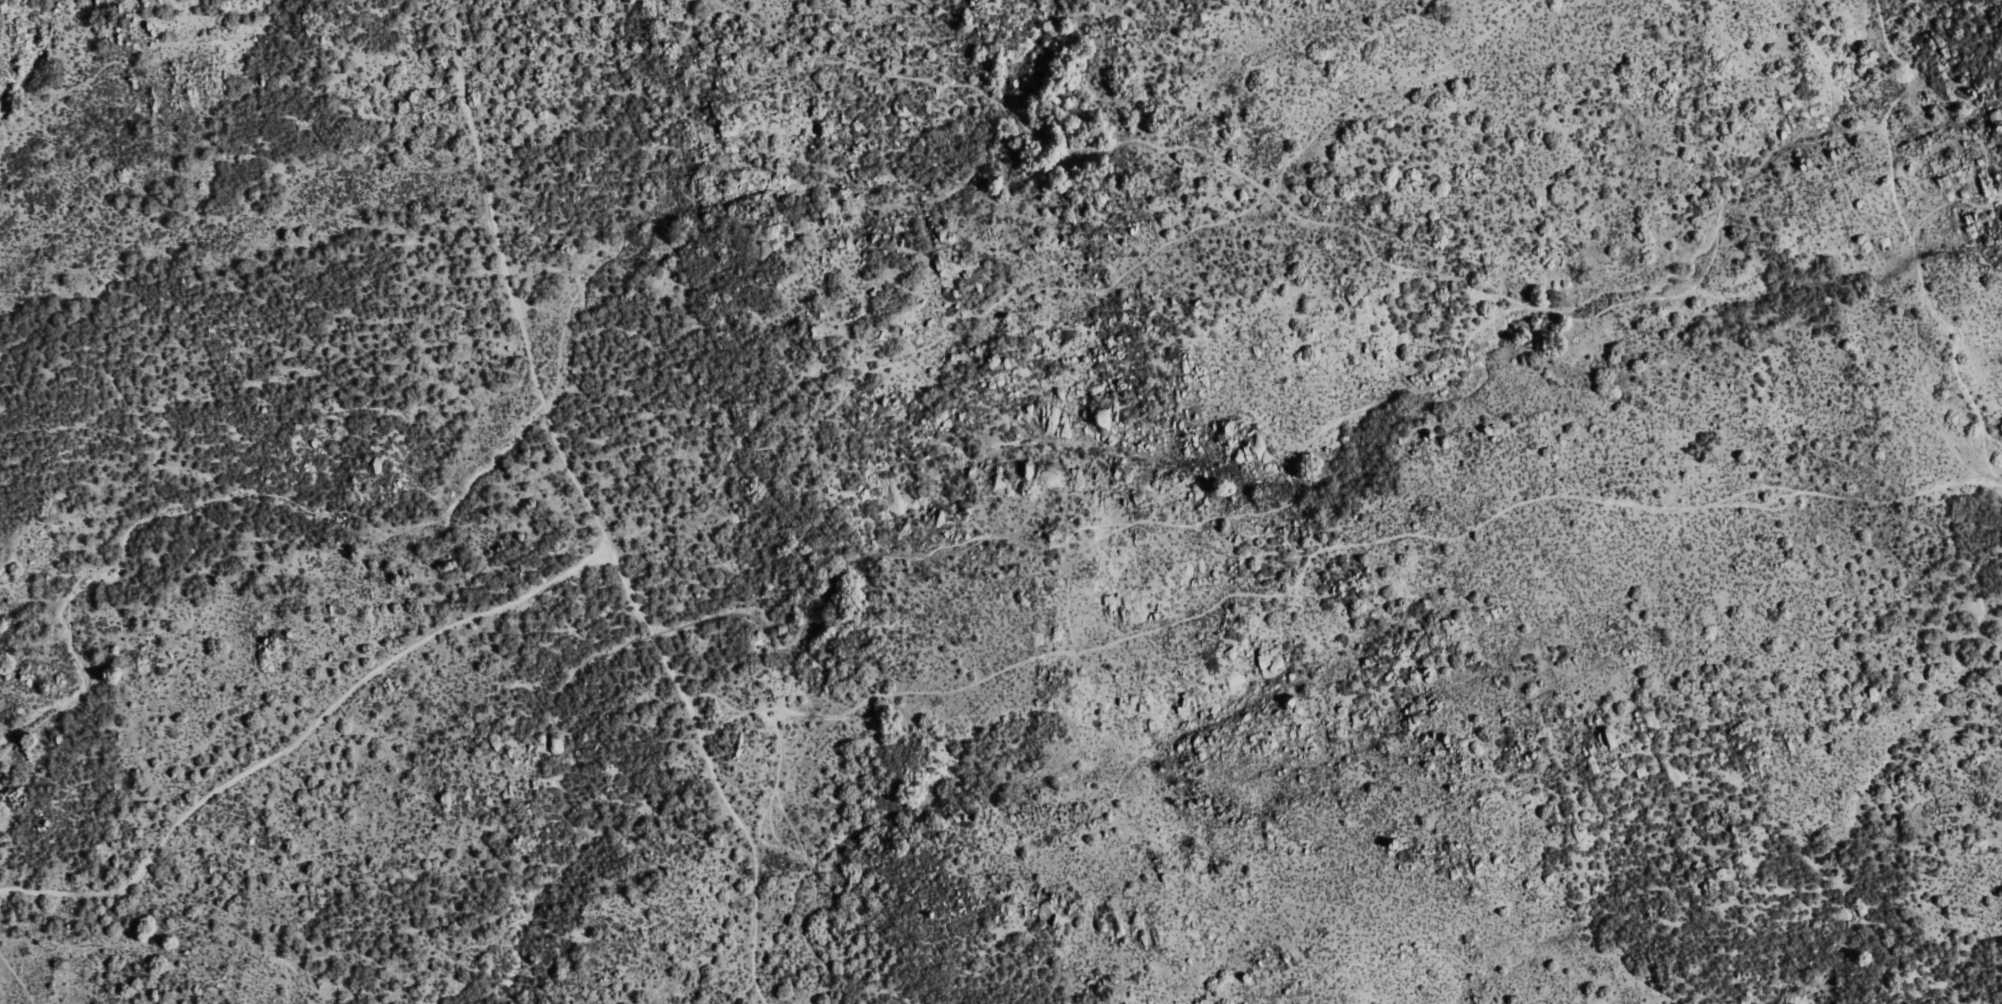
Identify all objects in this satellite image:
road: (1909, 239)

